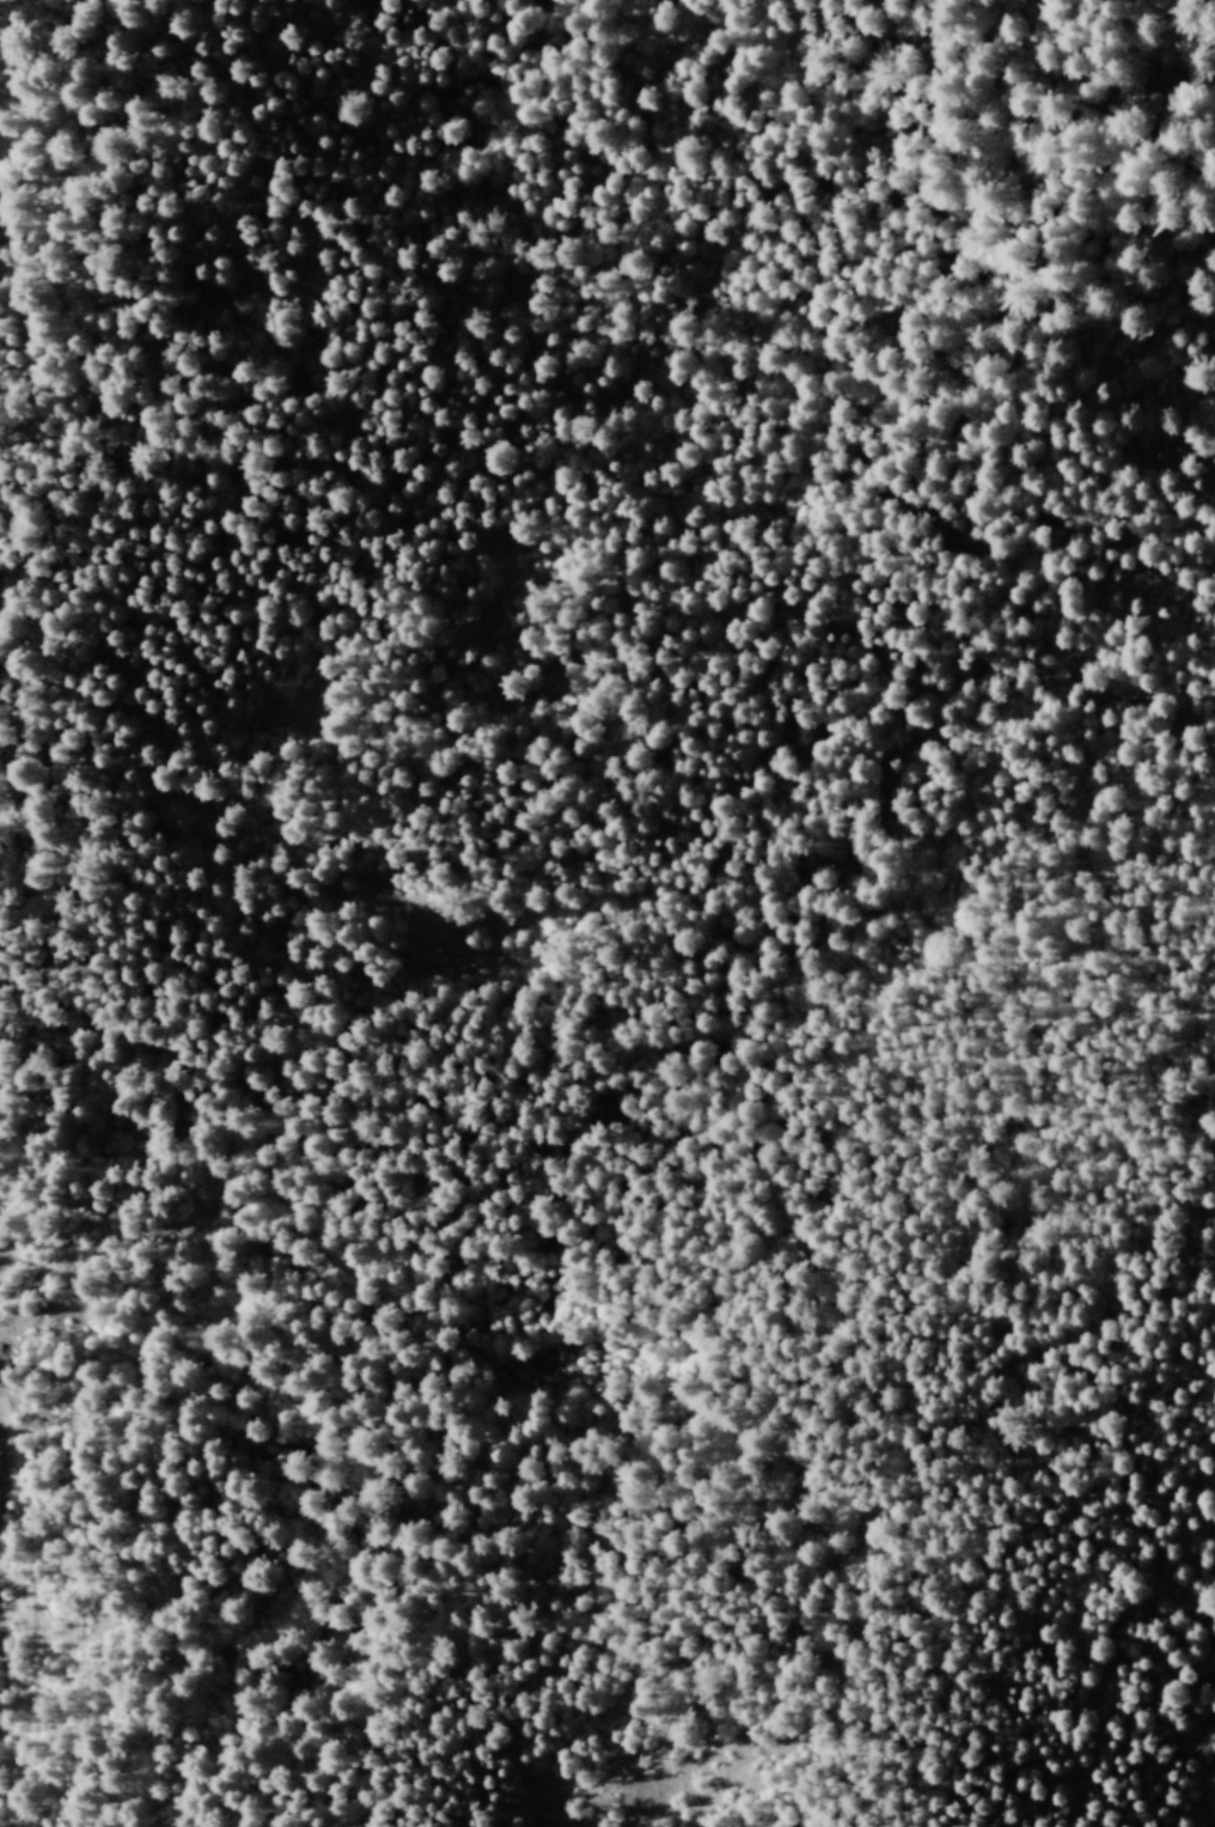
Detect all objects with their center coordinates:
road: (4, 226)
road: (1, 1425)
road: (4, 1547)

